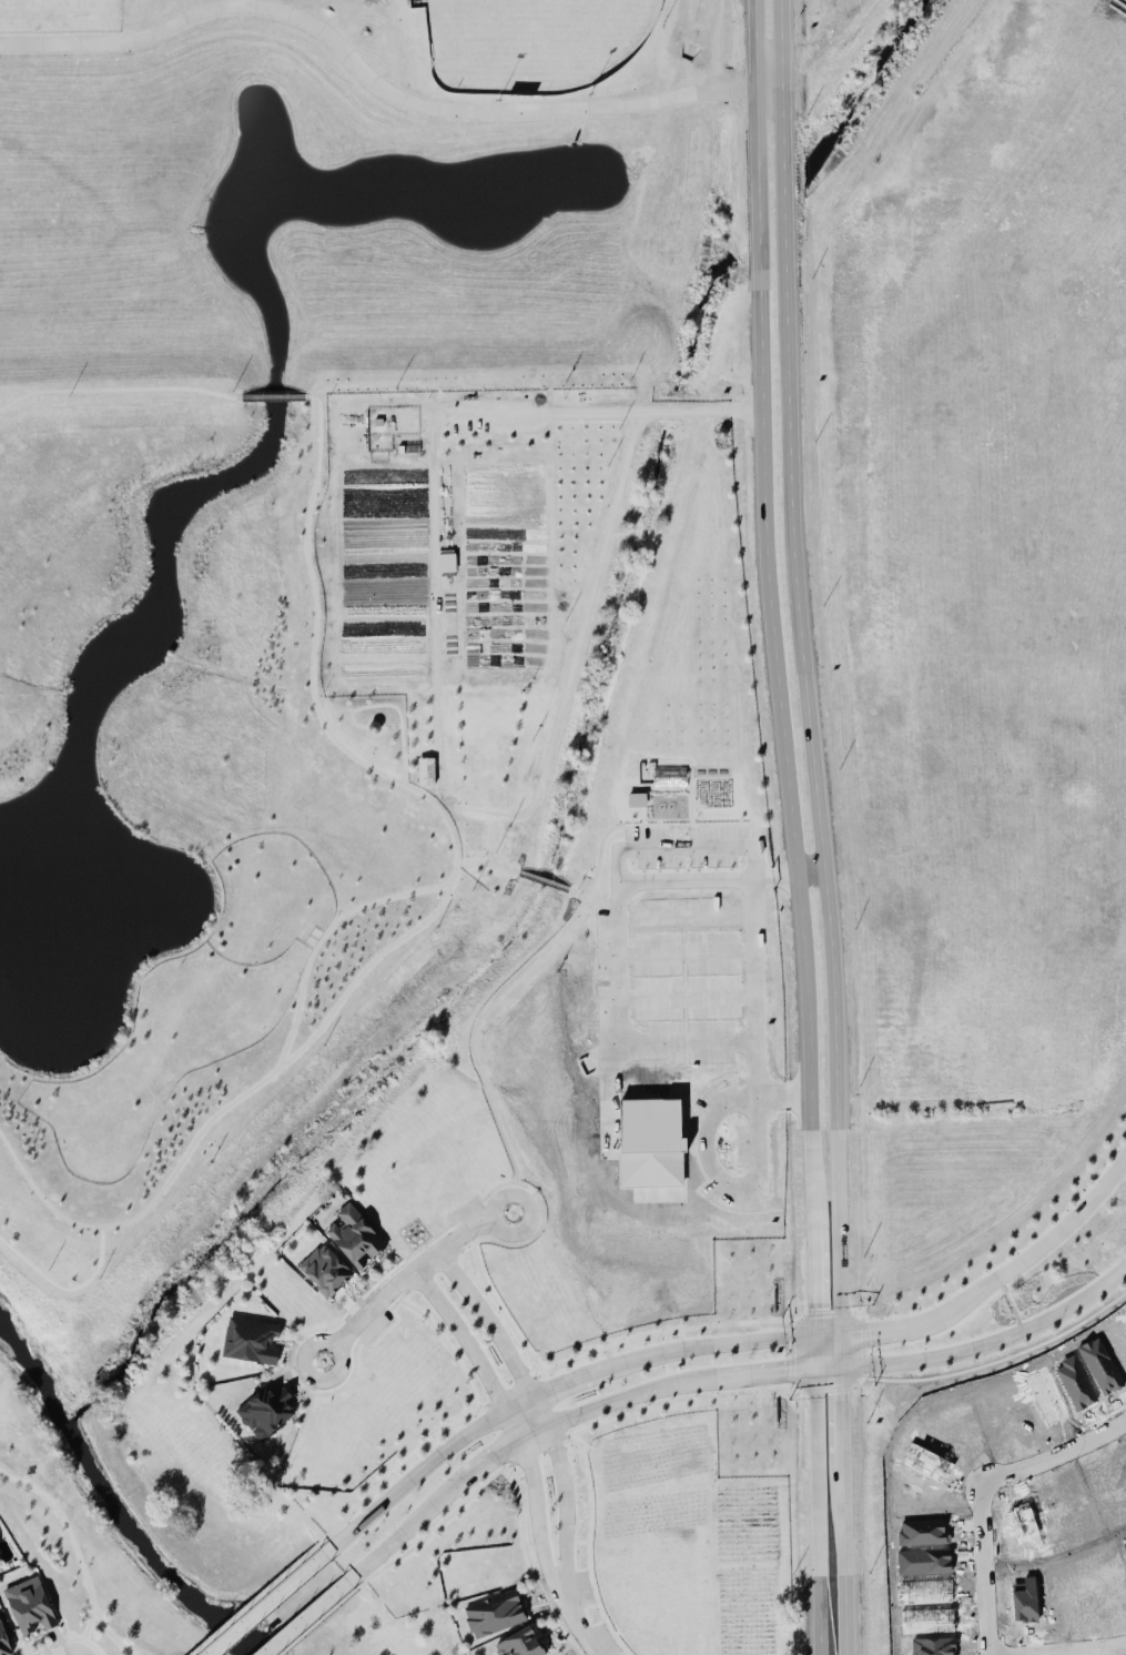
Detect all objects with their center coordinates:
park: (61, 11)
park: (535, 42)
road: (755, 82)
road: (781, 82)
road: (375, 84)
road: (118, 333)
road: (599, 407)
crop: (464, 555)
road: (317, 602)
road: (778, 688)
road: (369, 705)
building: (368, 728)
storage tank: (368, 728)
road: (395, 741)
road: (813, 749)
road: (363, 760)
building: (426, 769)
building: (669, 775)
building: (636, 798)
road: (432, 811)
road: (507, 817)
parking lot: (686, 856)
road: (491, 861)
road: (812, 865)
road: (619, 874)
road: (547, 879)
road: (571, 886)
road: (500, 986)
road: (619, 1028)
road: (240, 1097)
road: (716, 1111)
building: (354, 1234)
road: (529, 1235)
road: (1044, 1241)
building: (325, 1269)
road: (433, 1269)
road: (407, 1274)
road: (816, 1289)
traffic signals: (818, 1303)
road: (506, 1312)
road: (828, 1313)
road: (789, 1320)
road: (893, 1324)
road: (321, 1326)
traffic signals: (870, 1328)
road: (668, 1329)
road: (830, 1332)
building: (251, 1339)
road: (993, 1341)
road: (723, 1343)
road: (862, 1343)
road: (450, 1351)
road: (790, 1351)
road: (779, 1370)
traffic signals: (782, 1370)
road: (565, 1379)
road: (859, 1379)
road: (791, 1383)
road: (828, 1384)
road: (511, 1389)
traffic signals: (843, 1391)
road: (630, 1395)
road: (682, 1402)
road: (535, 1404)
road: (843, 1409)
building: (265, 1411)
road: (508, 1416)
road: (537, 1446)
road: (493, 1459)
road: (389, 1471)
road: (412, 1476)
road: (981, 1490)
river: (113, 1497)
road: (819, 1511)
road: (432, 1530)
road: (396, 1537)
crop: (688, 1543)
road: (63, 1545)
road: (588, 1547)
building: (1, 1556)
building: (0, 1561)
road: (530, 1562)
road: (846, 1571)
road: (247, 1596)
road: (265, 1603)
building: (32, 1605)
building: (494, 1612)
road: (305, 1616)
road: (575, 1619)
road: (314, 1621)
road: (102, 1634)
building: (4, 1636)
road: (62, 1639)
building: (519, 1643)
road: (70, 1644)
road: (1075, 1647)
road: (60, 1649)

